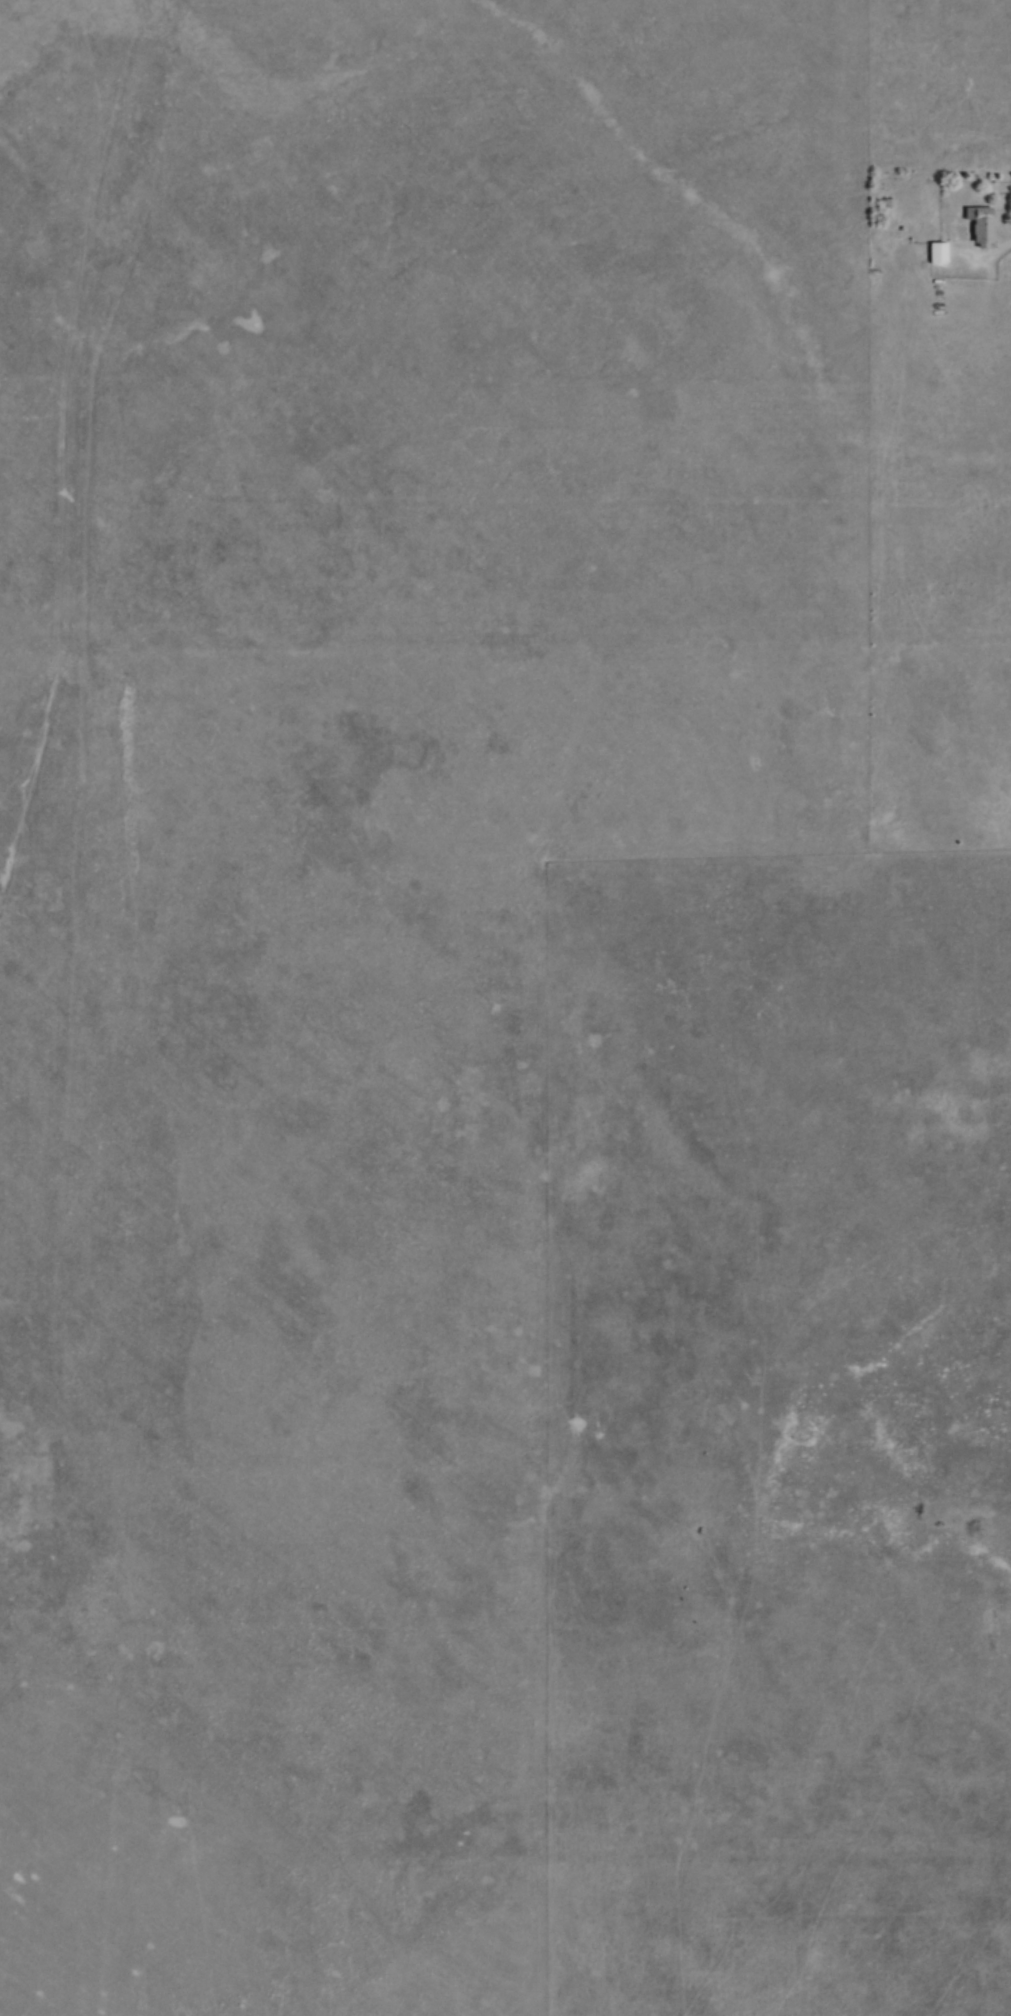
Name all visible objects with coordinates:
building: (978, 228)
building: (935, 254)

